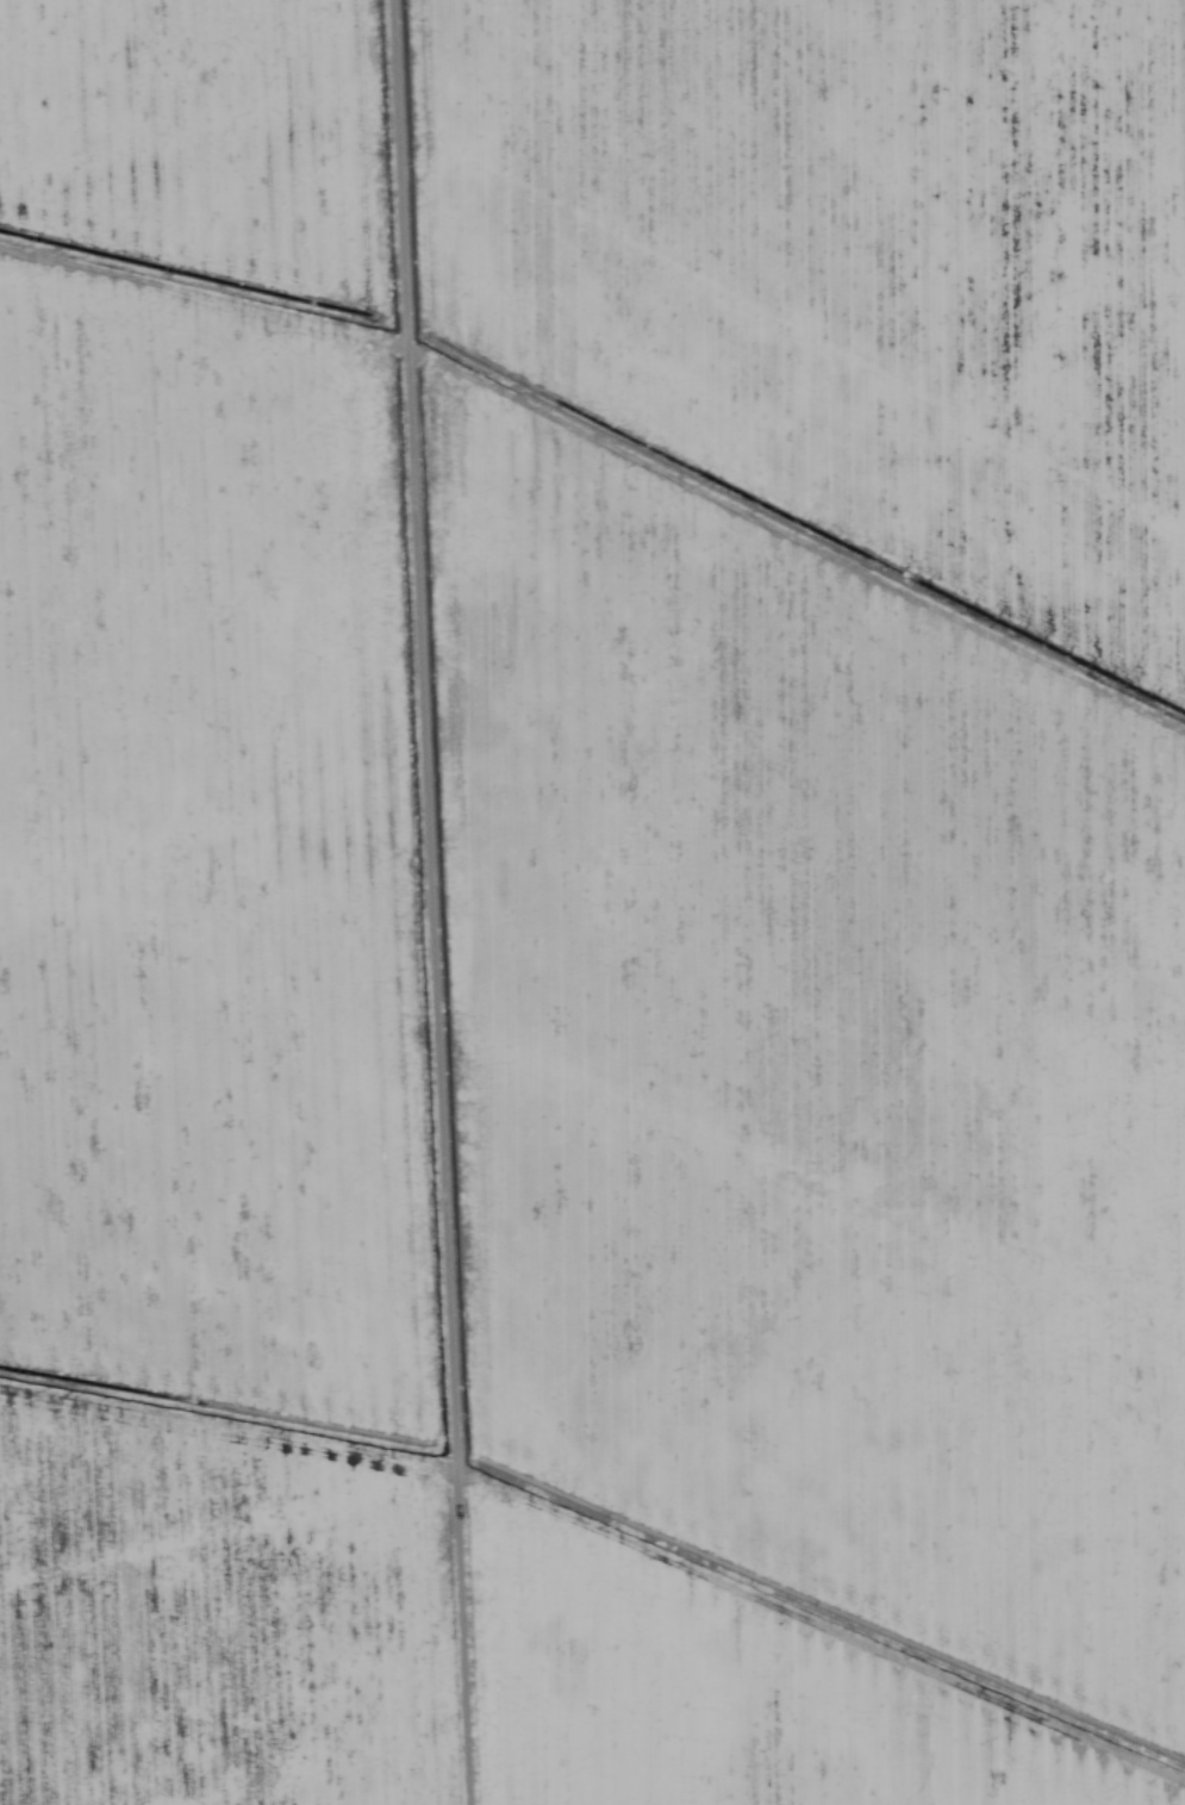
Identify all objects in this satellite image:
road: (476, 902)
crop: (592, 902)

